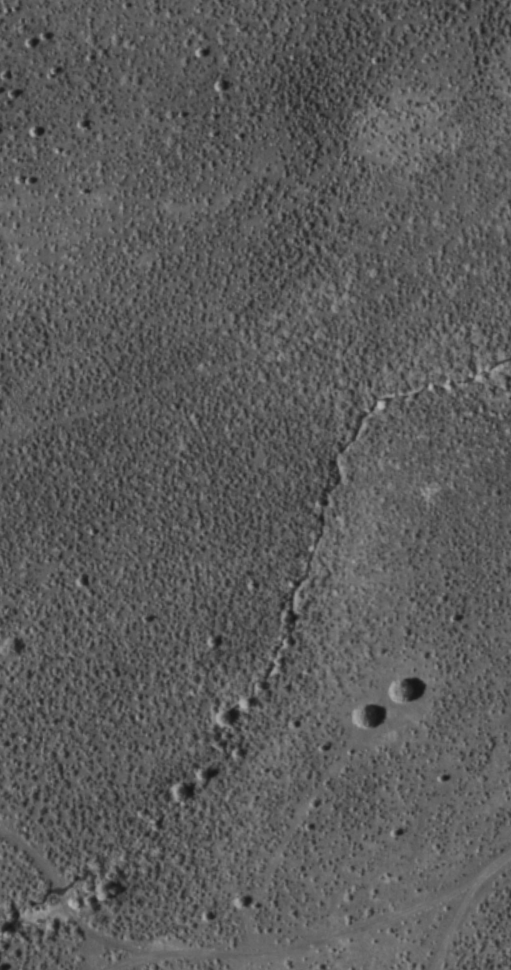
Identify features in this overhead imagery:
road: (464, 904)
road: (220, 956)
road: (255, 965)

